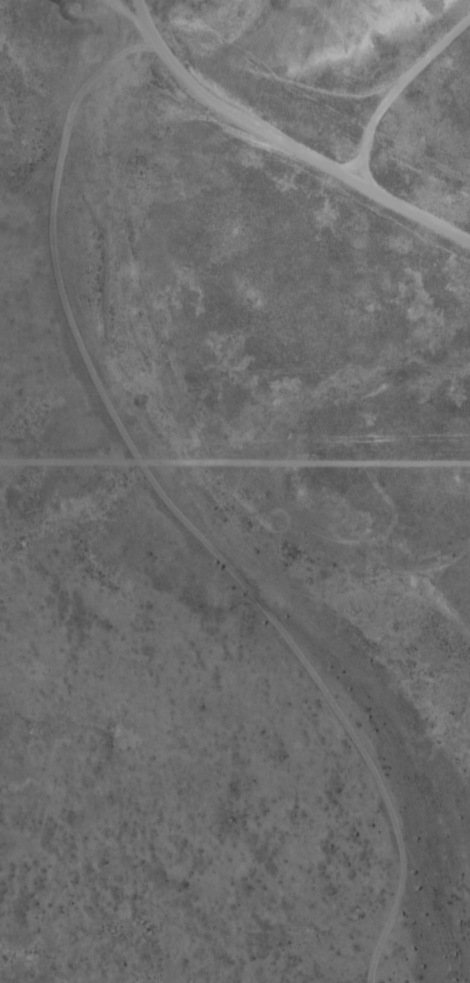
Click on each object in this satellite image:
road: (395, 89)
road: (359, 469)
road: (245, 486)

